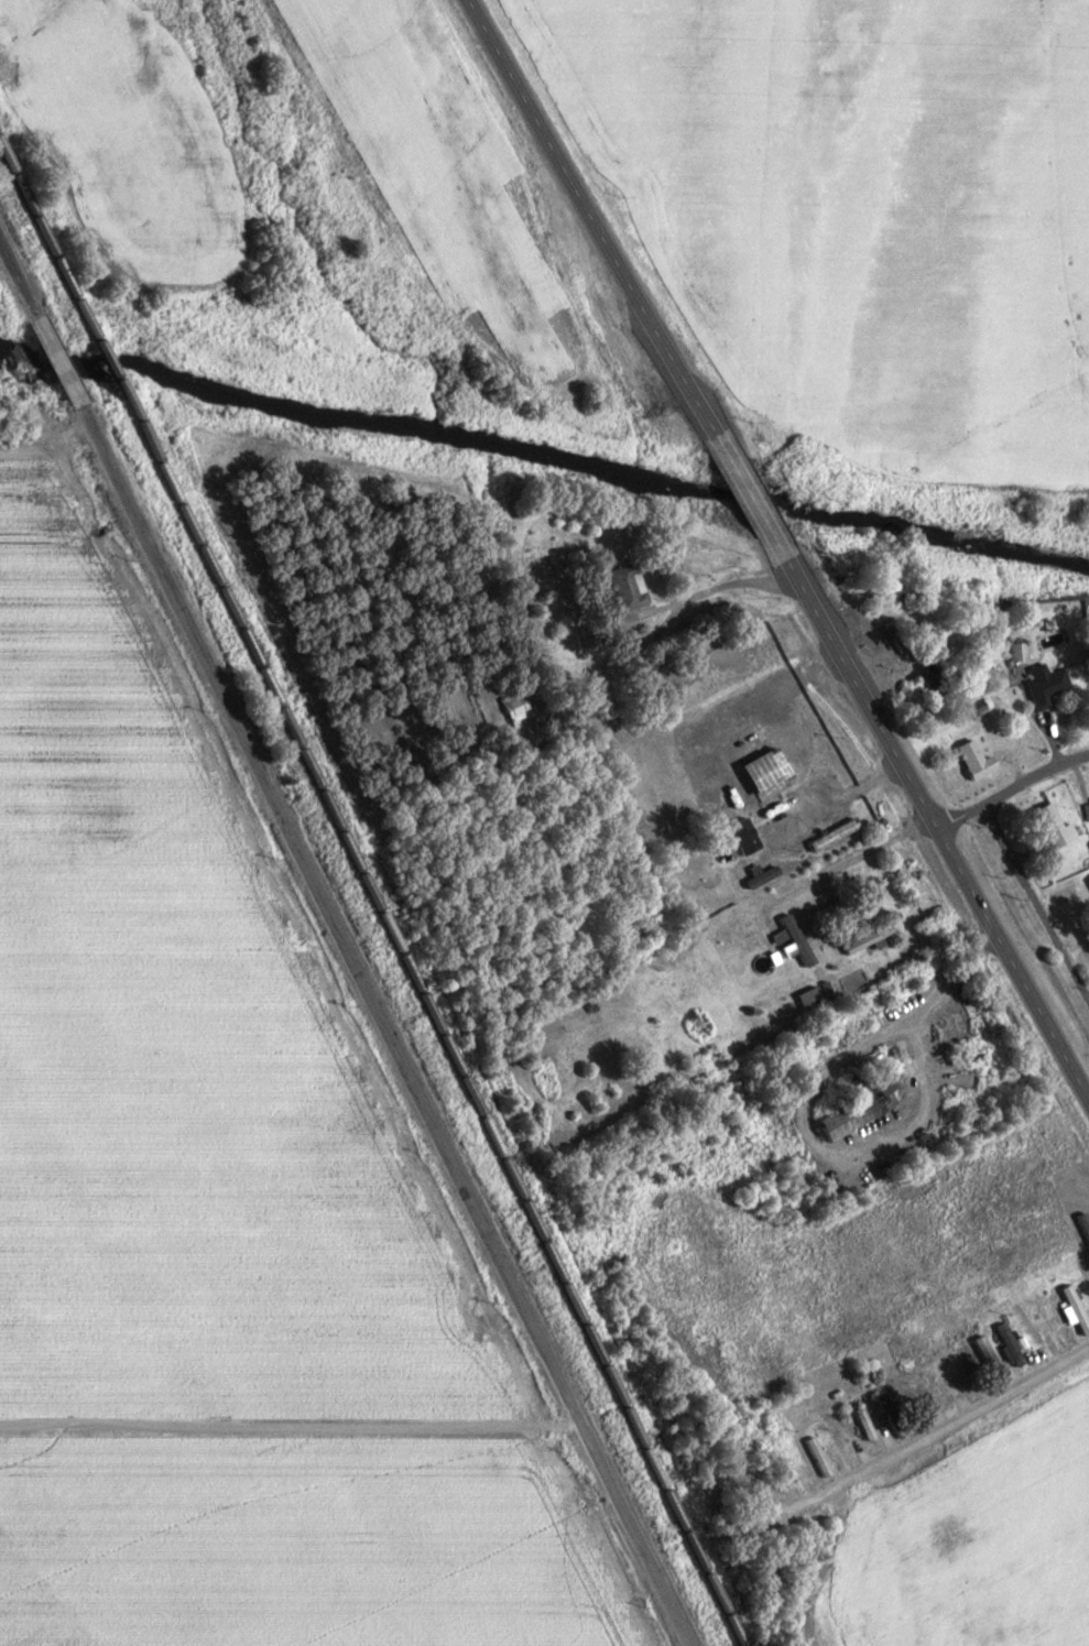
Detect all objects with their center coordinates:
road: (47, 33)
railway: (51, 240)
road: (19, 280)
road: (58, 360)
railway: (115, 370)
road: (776, 553)
road: (92, 569)
building: (620, 588)
road: (704, 591)
building: (1037, 686)
building: (512, 705)
building: (967, 708)
building: (966, 761)
building: (758, 776)
road: (1006, 785)
road: (721, 811)
building: (1083, 813)
building: (1046, 827)
building: (827, 837)
road: (823, 877)
building: (755, 879)
building: (1085, 886)
road: (1033, 909)
building: (859, 939)
building: (791, 940)
road: (947, 979)
building: (803, 998)
railway: (433, 1023)
road: (374, 1027)
road: (815, 1084)
building: (849, 1104)
building: (1068, 1310)
building: (982, 1360)
building: (933, 1394)
building: (902, 1397)
building: (883, 1415)
building: (858, 1424)
road: (284, 1429)
road: (925, 1435)
building: (813, 1458)
building: (788, 1468)

